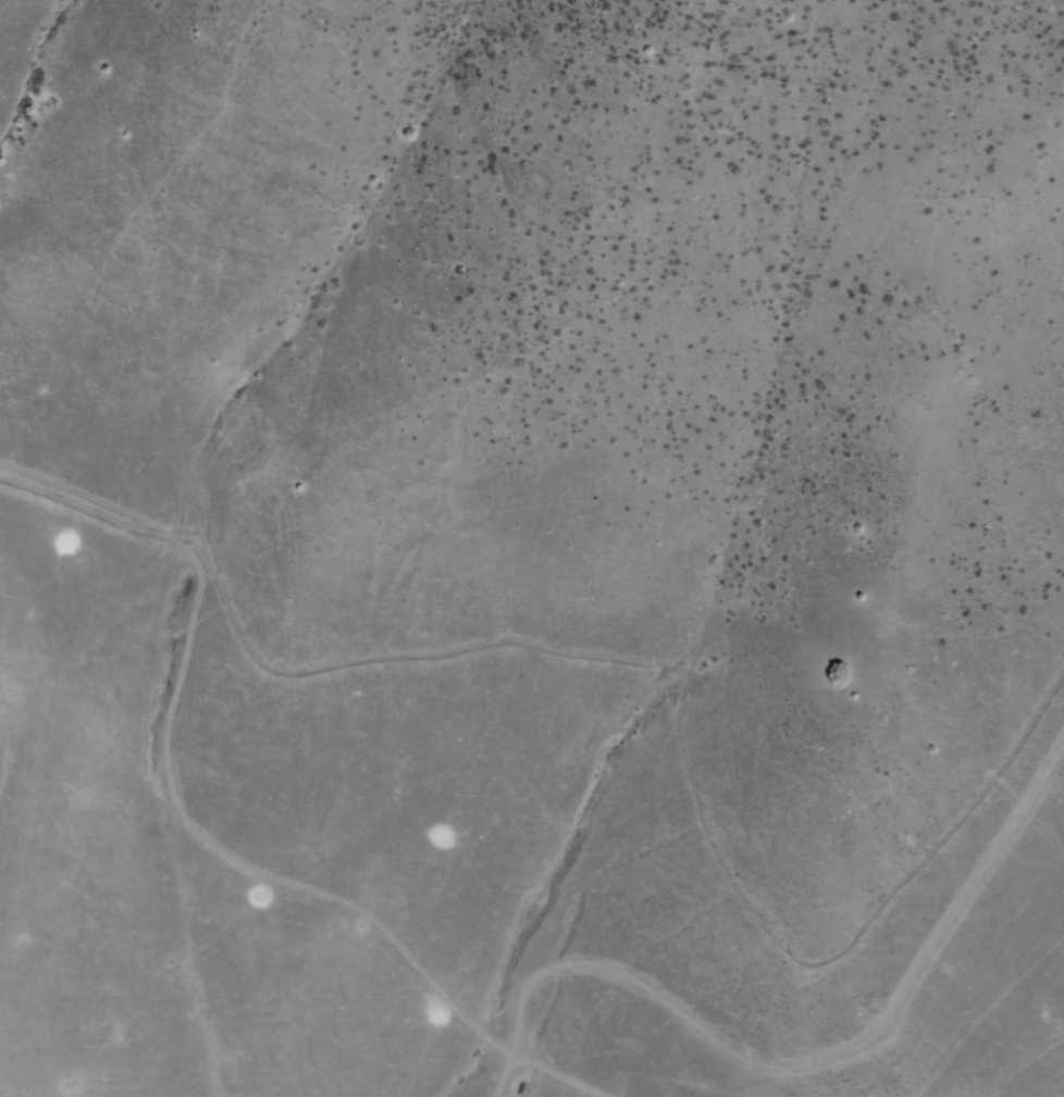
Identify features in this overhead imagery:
road: (187, 835)

